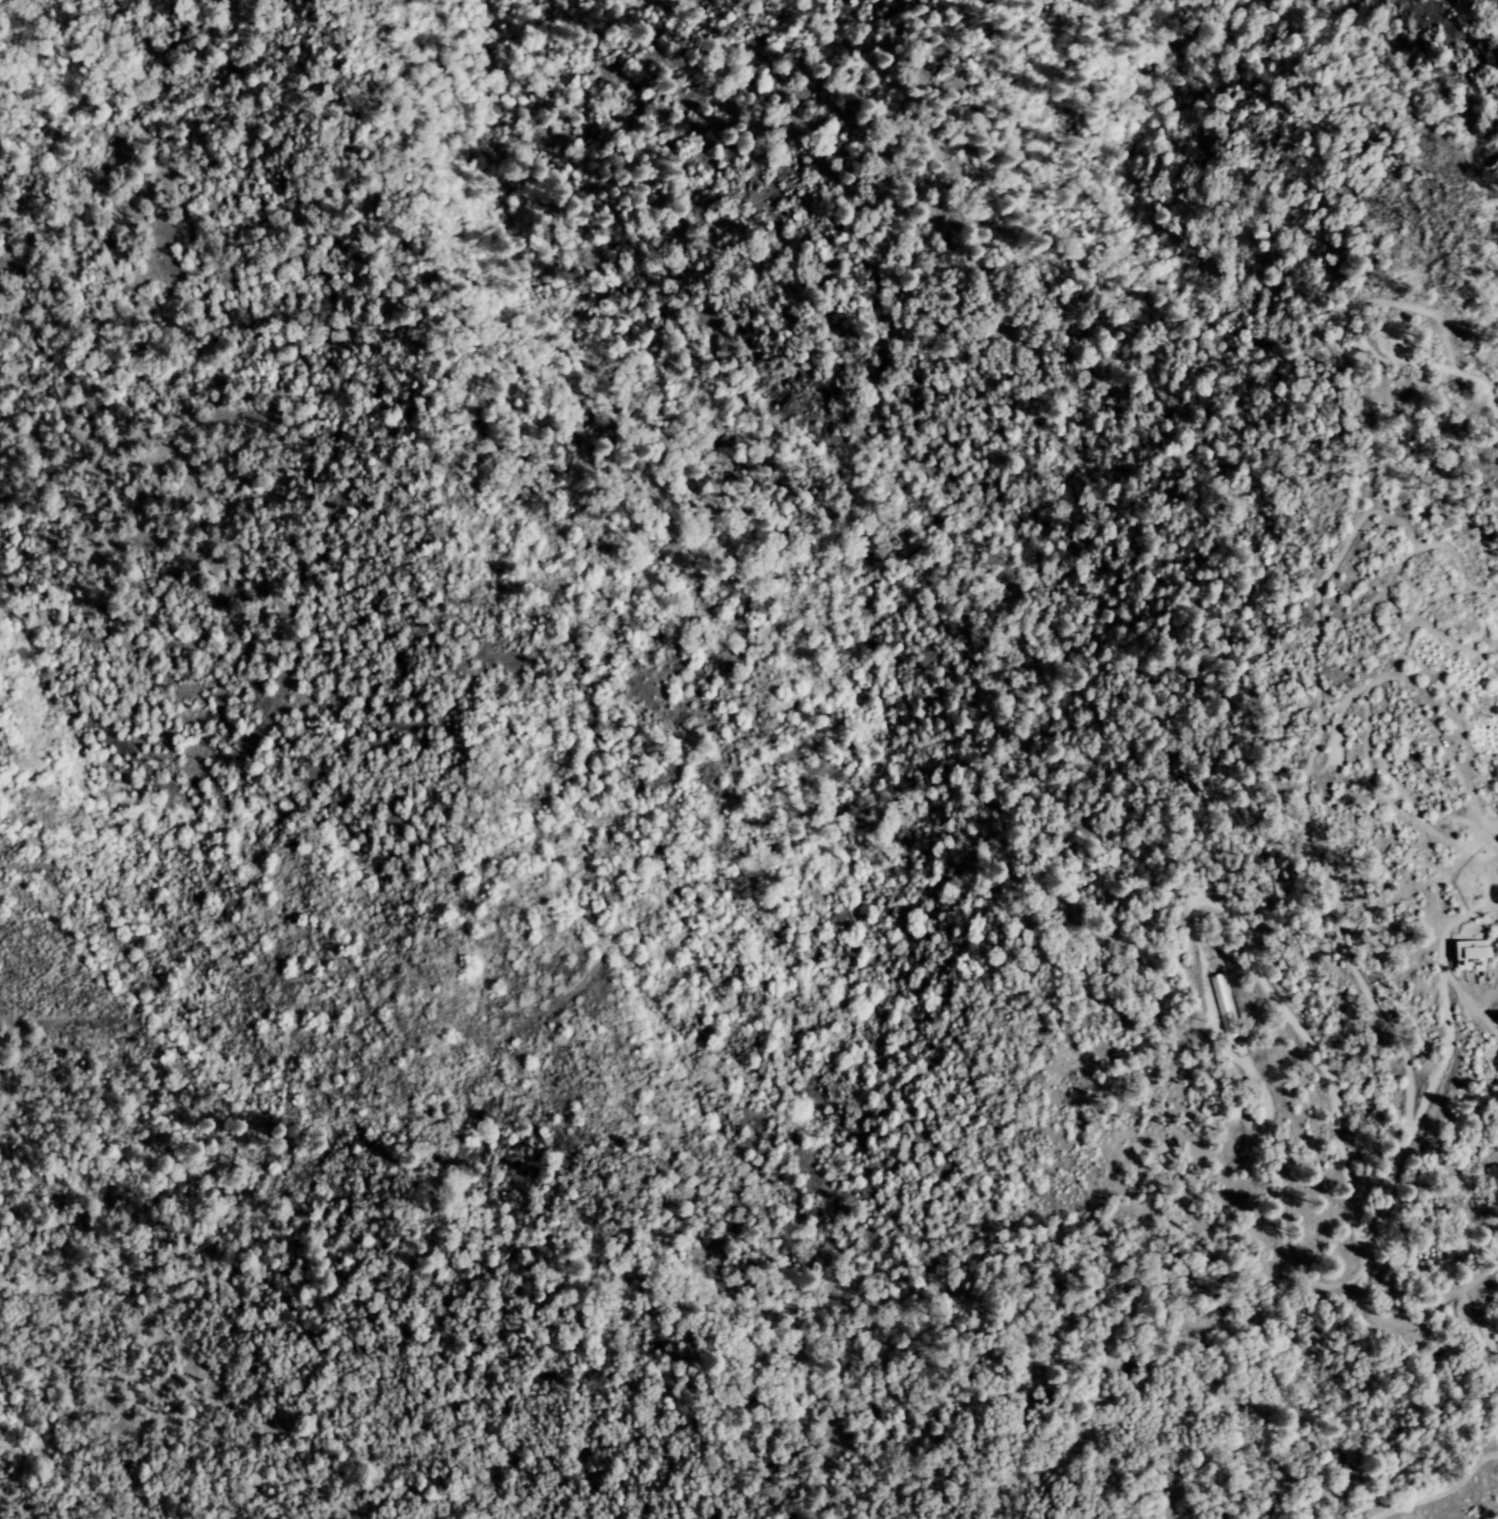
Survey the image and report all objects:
building: (1470, 954)

